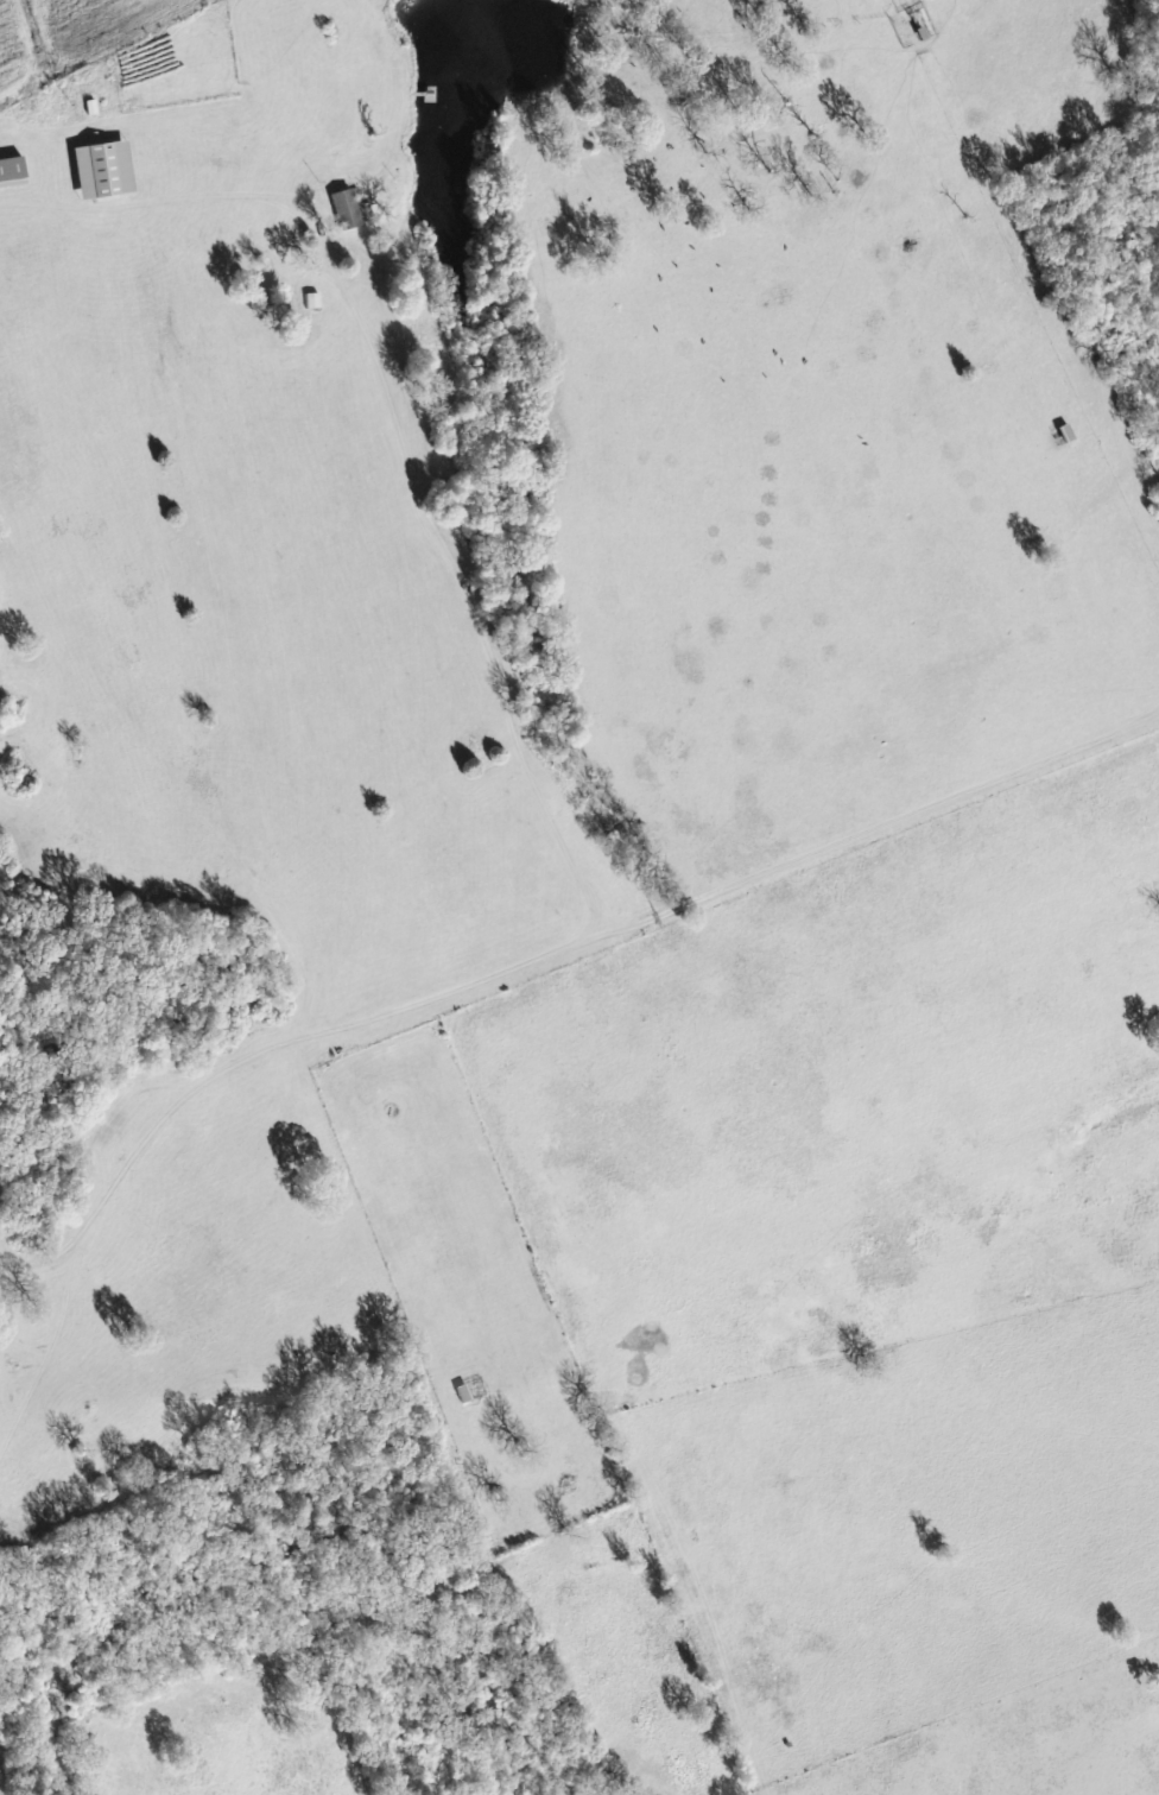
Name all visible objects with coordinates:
building: (109, 172)
building: (349, 210)
road: (626, 906)

